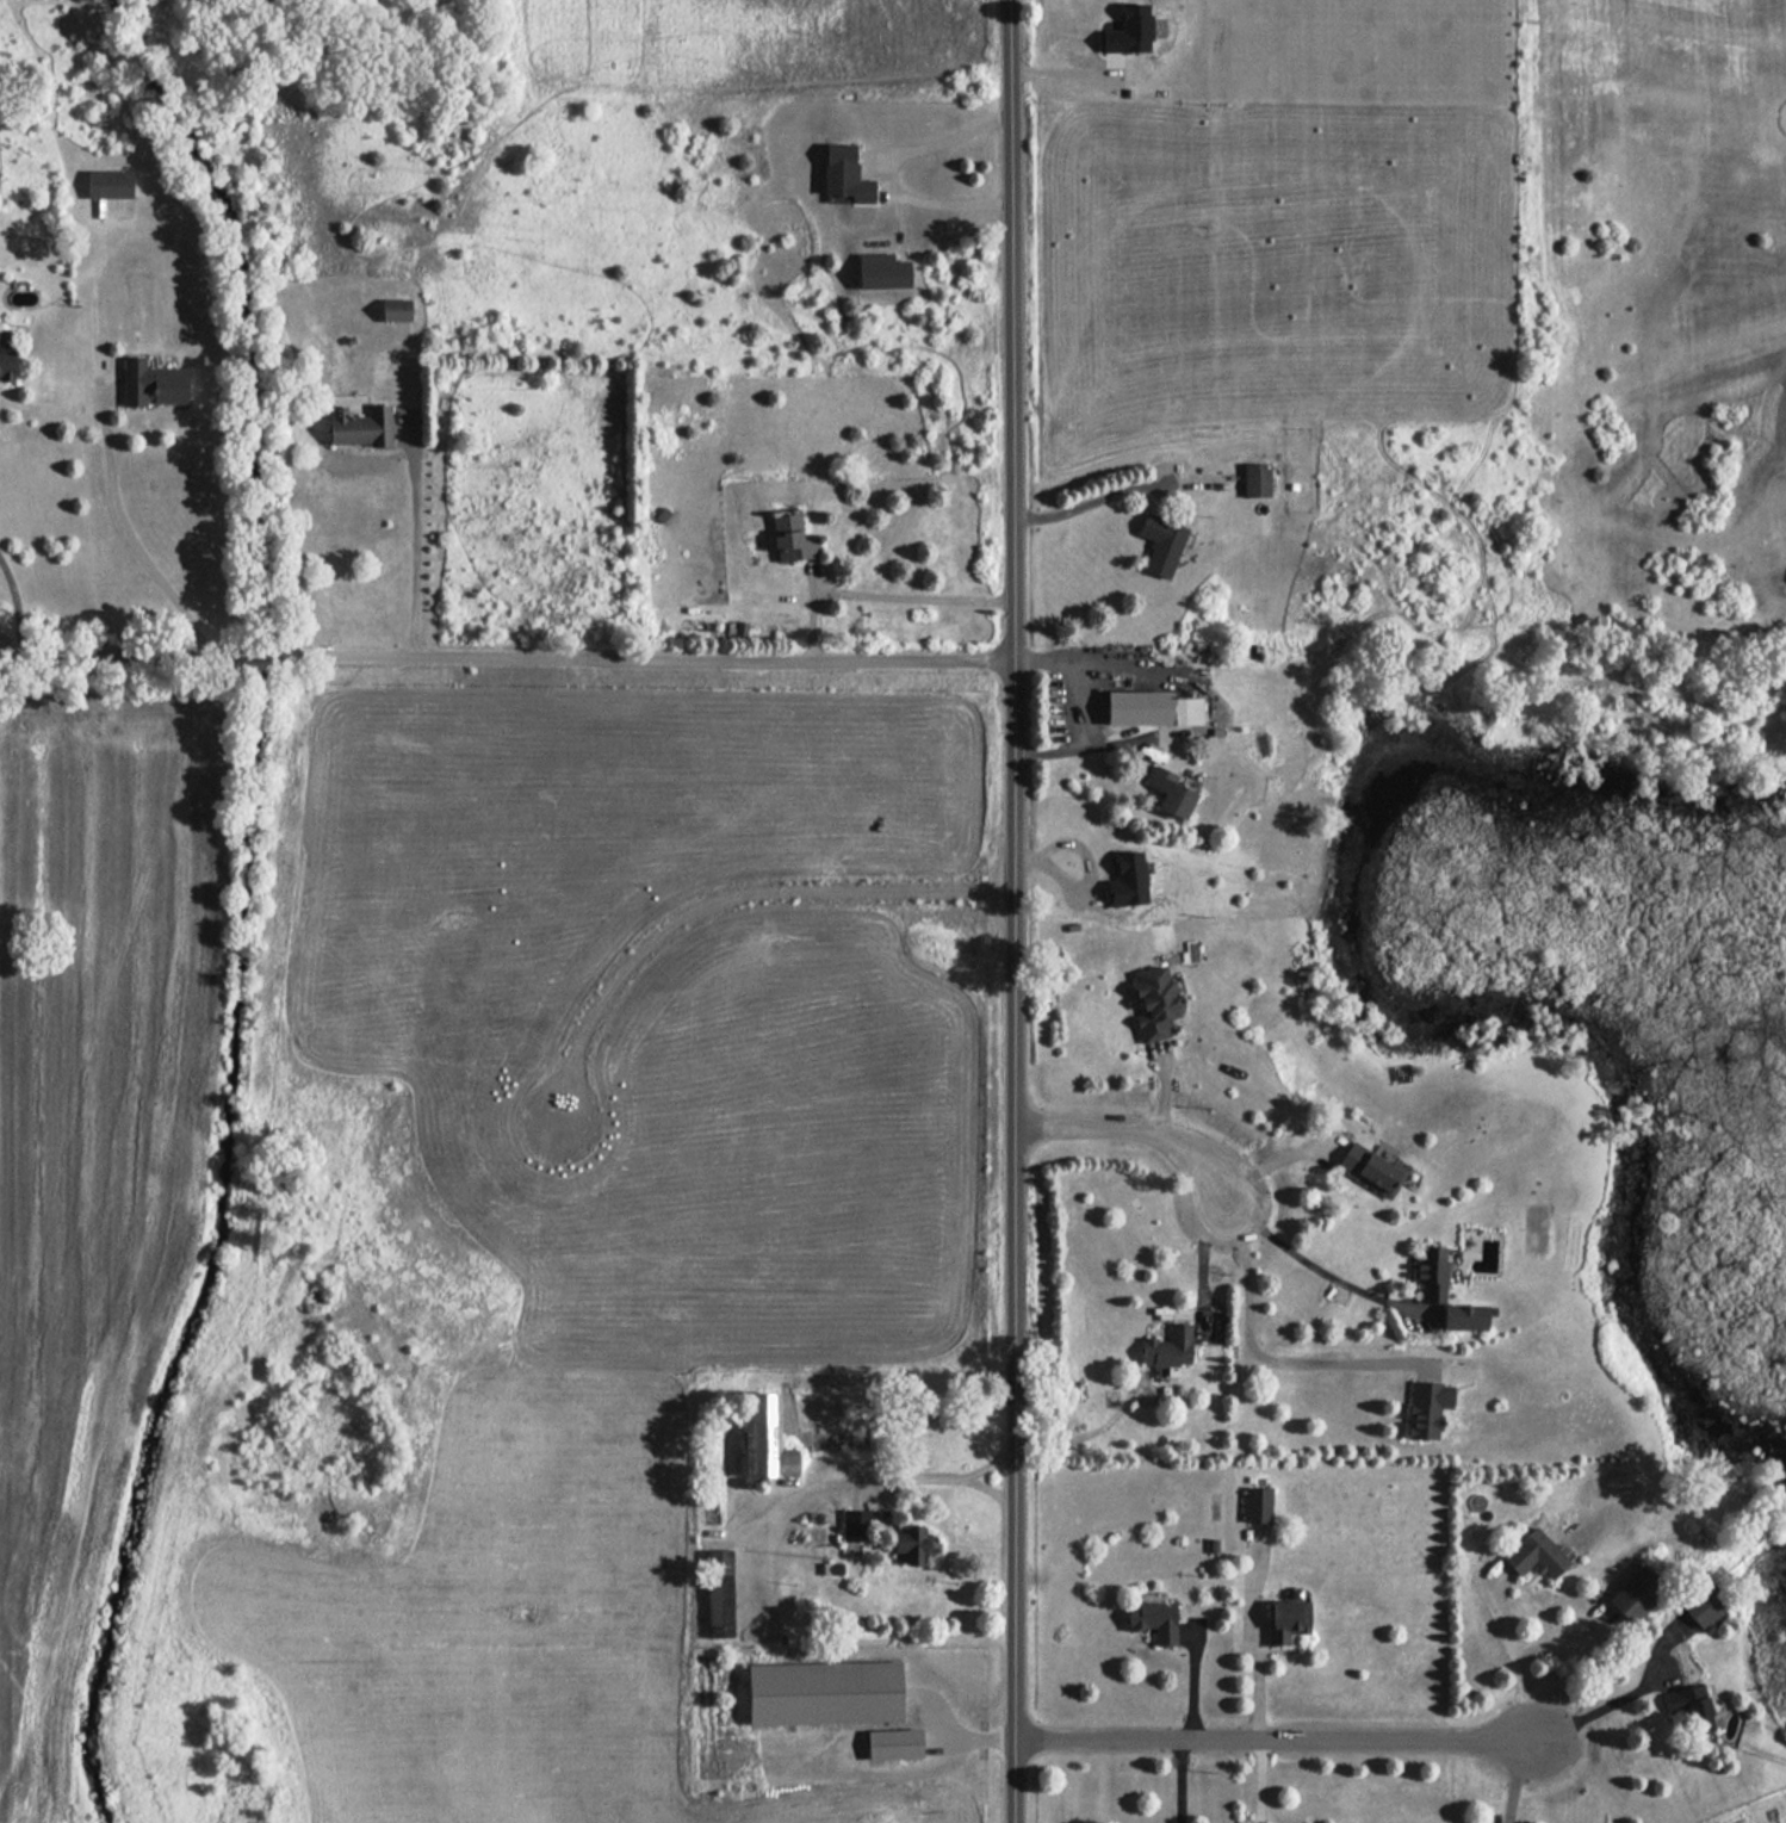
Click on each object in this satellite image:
building: (1130, 30)
building: (845, 173)
road: (891, 173)
building: (108, 185)
building: (882, 271)
building: (396, 309)
building: (7, 361)
building: (153, 383)
building: (1257, 479)
road: (1091, 501)
road: (131, 535)
building: (792, 539)
building: (1161, 544)
road: (415, 545)
road: (881, 593)
road: (17, 604)
road: (507, 656)
road: (1086, 706)
building: (1177, 709)
building: (1177, 790)
building: (1128, 880)
road: (724, 900)
road: (1016, 911)
building: (1155, 1002)
road: (1139, 1126)
building: (1370, 1170)
road: (1199, 1255)
road: (1317, 1269)
building: (1431, 1273)
building: (1463, 1316)
building: (1168, 1346)
road: (1258, 1356)
building: (1428, 1408)
building: (765, 1439)
road: (951, 1477)
building: (1258, 1505)
building: (856, 1525)
building: (912, 1544)
building: (1536, 1555)
building: (720, 1593)
building: (1636, 1593)
building: (1704, 1605)
building: (1154, 1620)
building: (1288, 1622)
road: (1515, 1656)
building: (824, 1693)
road: (1605, 1699)
building: (1691, 1706)
road: (1282, 1737)
building: (893, 1743)
road: (1518, 1777)
road: (1180, 1780)
road: (1260, 1780)

